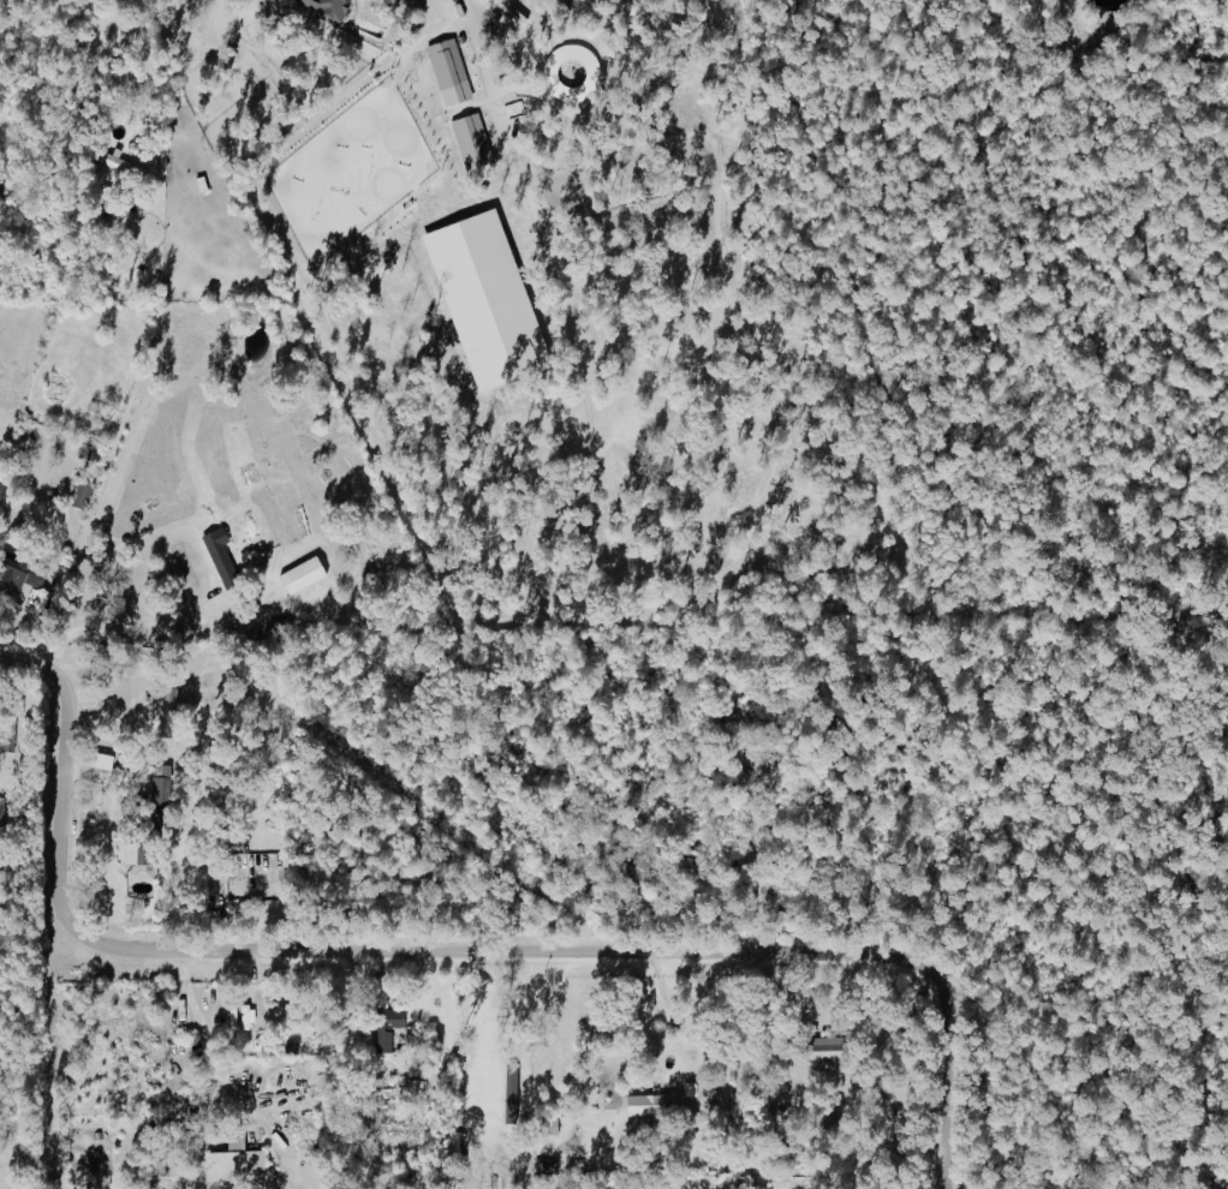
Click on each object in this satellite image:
building: (323, 7)
road: (143, 70)
building: (446, 72)
road: (484, 77)
building: (469, 142)
building: (119, 165)
building: (482, 300)
building: (78, 494)
building: (215, 550)
building: (19, 574)
building: (299, 575)
road: (119, 627)
road: (34, 664)
building: (160, 707)
building: (160, 783)
road: (840, 819)
building: (0, 825)
building: (133, 860)
road: (482, 954)
building: (244, 1017)
building: (385, 1027)
road: (368, 1036)
building: (822, 1050)
road: (208, 1052)
building: (651, 1105)
building: (548, 1125)
building: (232, 1161)
building: (758, 1187)

